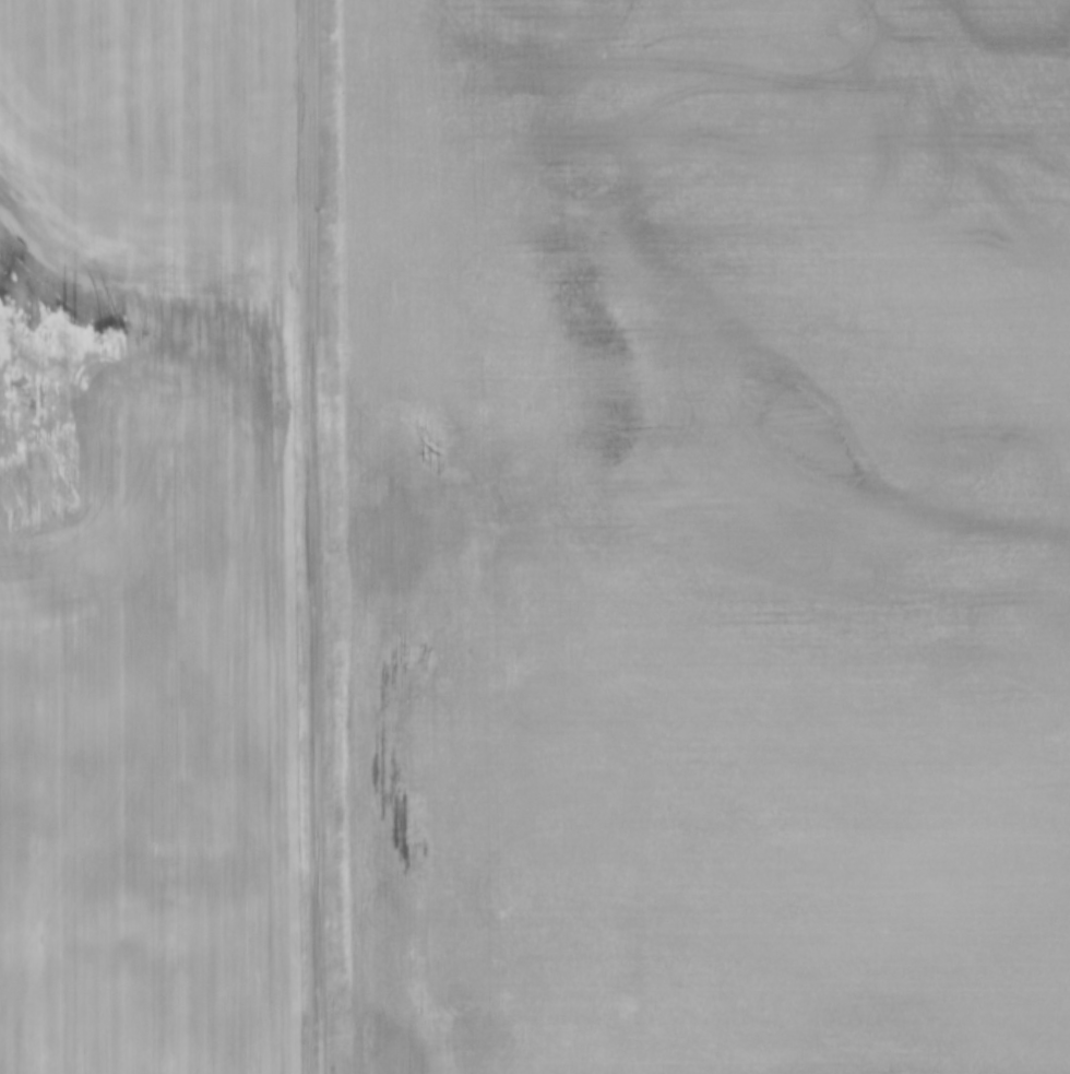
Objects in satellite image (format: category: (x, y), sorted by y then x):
road: (316, 536)

